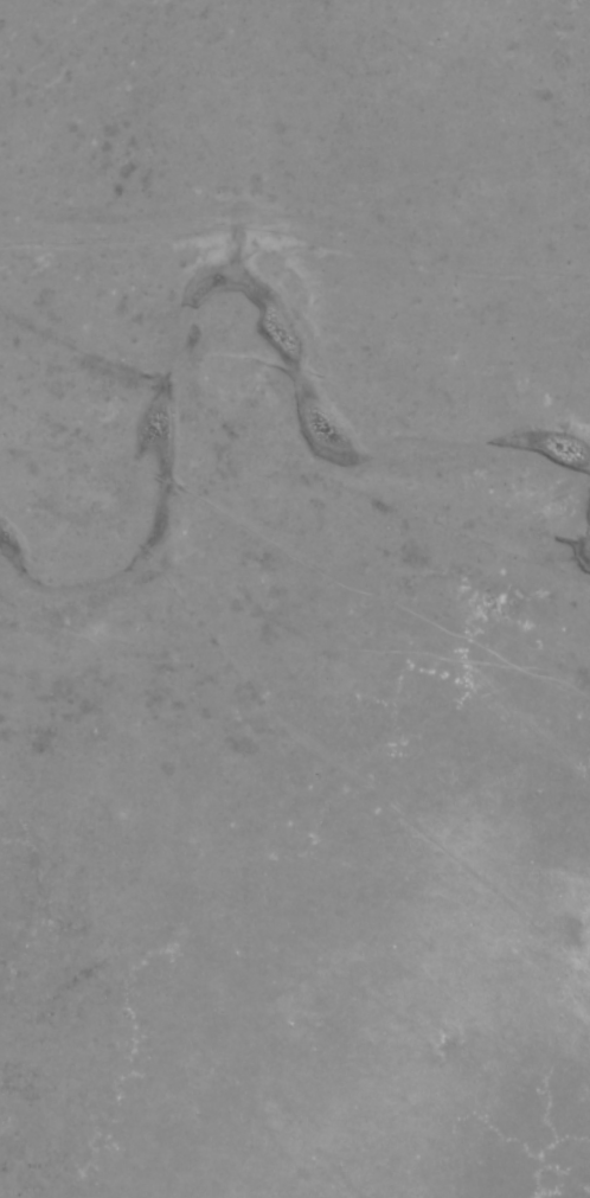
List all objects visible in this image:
road: (479, 60)

